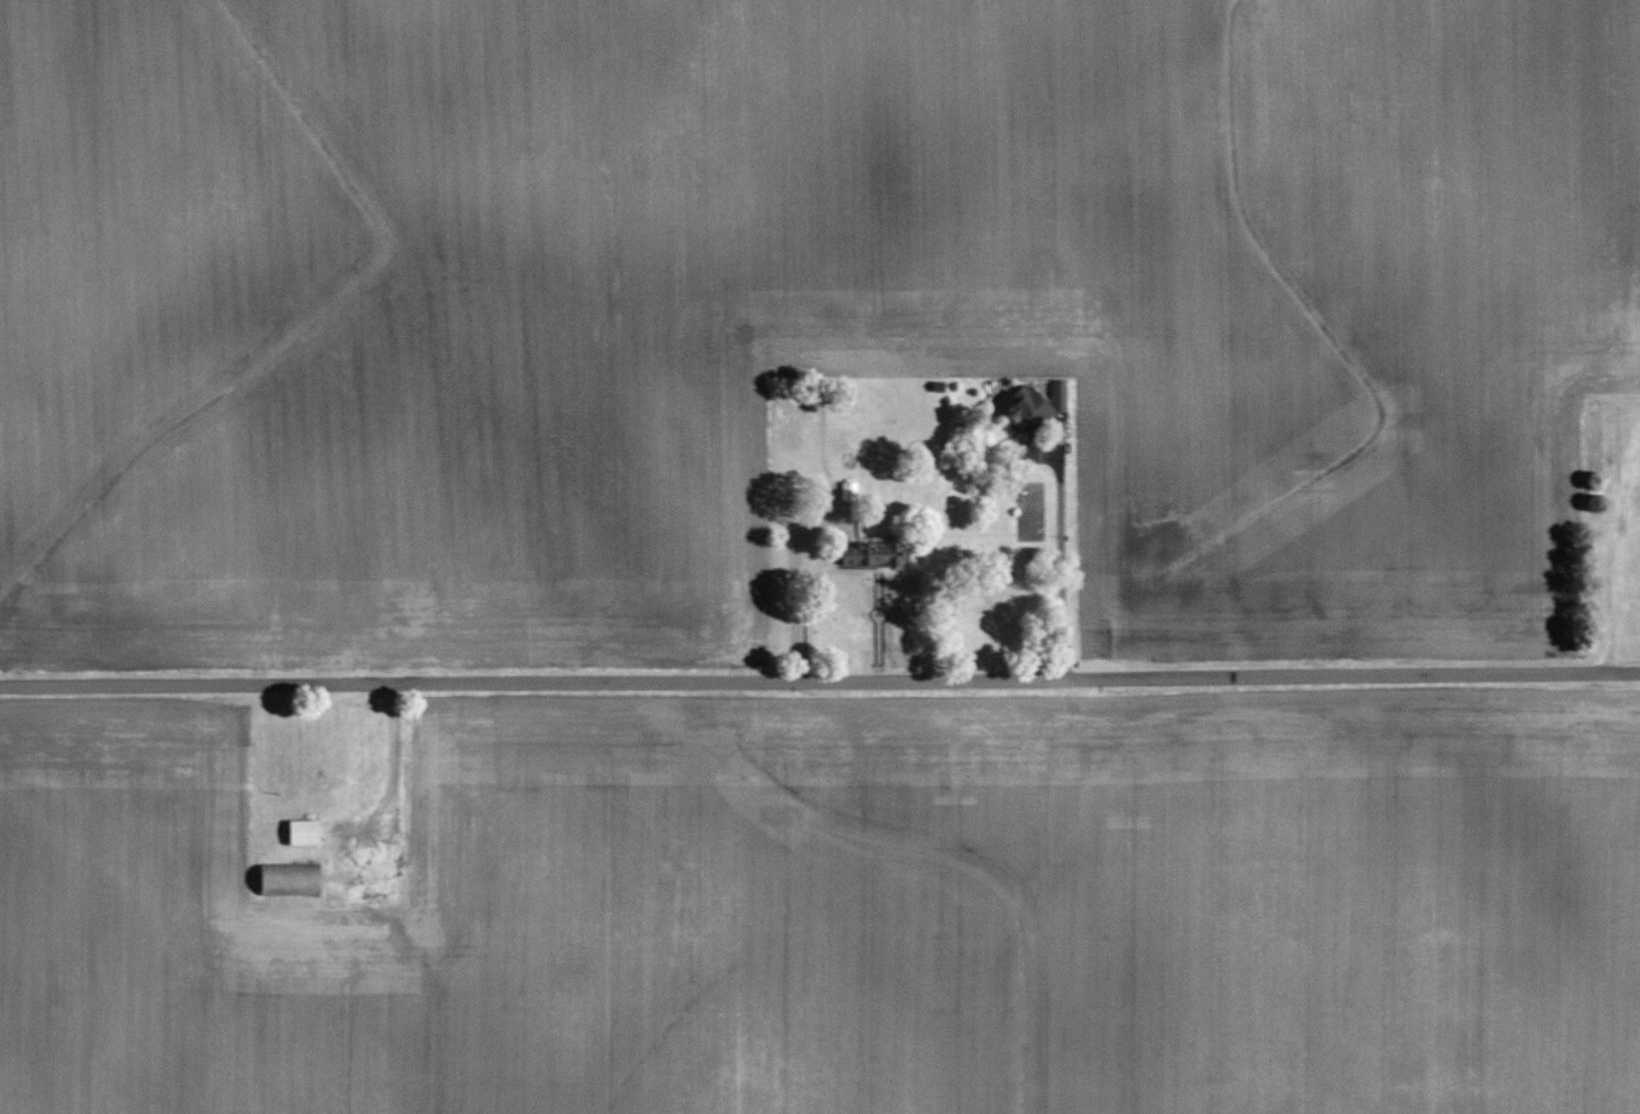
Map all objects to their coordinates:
road: (820, 674)
building: (309, 831)

